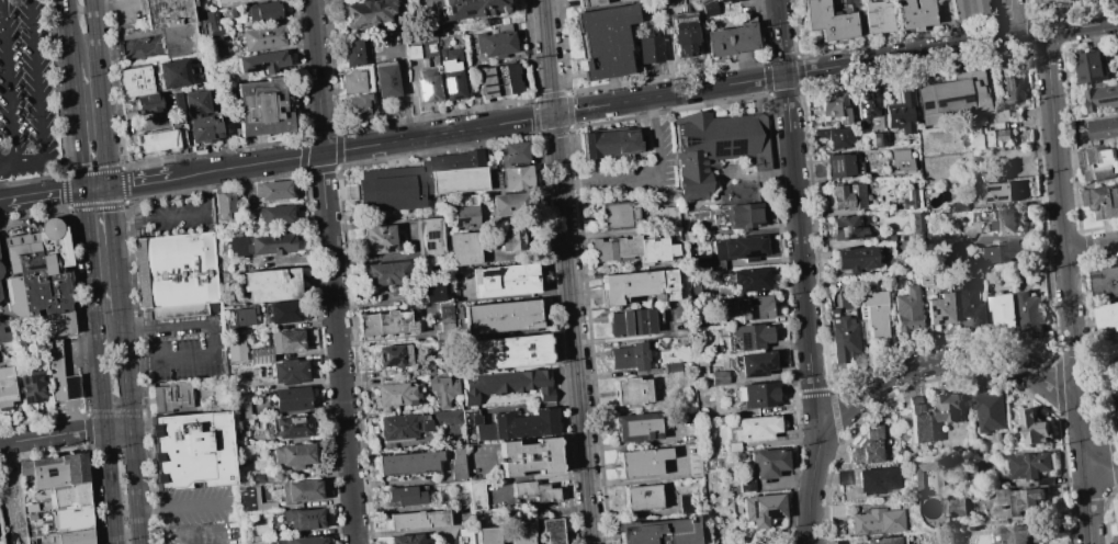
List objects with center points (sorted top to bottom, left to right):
building: (617, 0)
building: (719, 0)
building: (729, 1)
building: (1043, 1)
building: (234, 2)
building: (588, 3)
building: (850, 3)
building: (468, 8)
building: (965, 8)
building: (708, 9)
rooftop solar panel: (448, 10)
rooftop solar panel: (465, 11)
building: (168, 12)
building: (364, 12)
building: (234, 13)
building: (267, 13)
building: (914, 13)
building: (877, 16)
road: (1012, 19)
building: (827, 21)
building: (213, 24)
road: (1082, 25)
road: (69, 31)
road: (1029, 33)
building: (682, 35)
road: (781, 37)
building: (266, 38)
building: (183, 39)
building: (605, 39)
building: (730, 39)
building: (490, 43)
building: (648, 49)
building: (410, 52)
building: (351, 53)
building: (266, 63)
building: (1088, 66)
building: (450, 72)
building: (178, 73)
rooftop solar panel: (484, 75)
building: (385, 79)
building: (139, 80)
building: (498, 80)
road: (10, 82)
building: (350, 82)
rooftop solar panel: (1005, 82)
rooftop solar panel: (486, 83)
building: (426, 86)
building: (1008, 86)
rooftop solar panel: (424, 88)
parking lot: (24, 90)
rooftop solar panel: (487, 91)
road: (99, 93)
building: (1102, 97)
rooftop solar panel: (951, 98)
building: (952, 98)
road: (37, 99)
rooftop solar panel: (1109, 99)
building: (153, 103)
building: (866, 103)
rooftop solar panel: (871, 103)
rooftop solar panel: (925, 103)
building: (355, 105)
building: (834, 106)
building: (264, 107)
road: (590, 107)
building: (901, 109)
rooftop solar panel: (859, 112)
rooftop solar panel: (869, 112)
traffic signals: (553, 114)
building: (1002, 115)
building: (159, 116)
building: (202, 120)
road: (78, 126)
building: (1103, 127)
building: (834, 136)
building: (987, 136)
rooftop solar panel: (884, 137)
building: (161, 139)
building: (878, 139)
rooftop solar panel: (876, 140)
rooftop solar panel: (737, 146)
building: (714, 147)
rooftop solar panel: (716, 148)
building: (515, 151)
building: (617, 157)
building: (902, 160)
building: (856, 163)
building: (1099, 163)
building: (839, 165)
rooftop solar panel: (834, 166)
building: (517, 178)
building: (419, 181)
road: (137, 182)
traffic signals: (108, 186)
road: (95, 188)
traffic signals: (84, 190)
building: (274, 190)
building: (995, 192)
road: (46, 195)
building: (847, 195)
rooftop solar panel: (1117, 195)
building: (911, 200)
building: (1103, 201)
road: (4, 202)
building: (225, 204)
building: (510, 206)
building: (959, 207)
building: (280, 214)
building: (618, 214)
parking lot: (171, 215)
road: (177, 215)
building: (465, 216)
building: (743, 216)
building: (669, 217)
road: (1061, 218)
building: (693, 219)
building: (916, 222)
building: (1005, 222)
building: (847, 228)
rooftop solar panel: (843, 230)
rooftop solar panel: (430, 235)
rooftop solar panel: (863, 235)
road: (1024, 236)
building: (428, 237)
building: (884, 237)
building: (507, 238)
rooftop solar panel: (848, 238)
building: (381, 239)
building: (269, 242)
building: (76, 246)
rooftop solar panel: (428, 246)
road: (1091, 247)
building: (739, 248)
rooftop solar panel: (387, 249)
building: (464, 249)
building: (631, 249)
road: (113, 250)
rooftop solar panel: (749, 250)
building: (1000, 251)
rooftop solar panel: (750, 254)
road: (800, 257)
building: (855, 258)
building: (0, 271)
road: (566, 271)
building: (38, 272)
building: (176, 272)
road: (329, 272)
building: (385, 274)
building: (987, 275)
building: (505, 280)
building: (749, 280)
building: (924, 280)
building: (890, 282)
building: (1106, 282)
building: (274, 284)
building: (636, 286)
building: (430, 292)
building: (0, 298)
building: (969, 299)
building: (753, 307)
building: (906, 309)
building: (938, 309)
building: (1004, 309)
building: (286, 313)
building: (874, 313)
building: (1029, 313)
building: (1108, 314)
building: (247, 316)
building: (500, 317)
building: (445, 319)
building: (630, 322)
building: (61, 324)
building: (385, 325)
building: (5, 331)
building: (752, 336)
building: (843, 337)
road: (213, 338)
building: (291, 342)
parking lot: (183, 349)
building: (1113, 349)
building: (240, 350)
road: (75, 352)
building: (510, 353)
building: (266, 355)
building: (393, 355)
building: (630, 356)
road: (941, 360)
building: (756, 364)
road: (100, 366)
rooftop solar panel: (765, 366)
building: (55, 370)
building: (425, 370)
building: (293, 372)
rooftop solar panel: (753, 373)
building: (719, 377)
building: (507, 386)
road: (74, 387)
building: (7, 388)
building: (32, 388)
building: (71, 388)
building: (443, 390)
building: (631, 393)
building: (396, 395)
building: (760, 396)
building: (176, 397)
building: (1115, 397)
building: (293, 399)
building: (949, 407)
building: (240, 409)
building: (990, 411)
road: (76, 416)
building: (1116, 419)
building: (919, 421)
building: (517, 426)
building: (295, 427)
building: (404, 427)
building: (639, 427)
building: (757, 428)
building: (1036, 428)
road: (117, 429)
road: (128, 430)
road: (1081, 432)
road: (53, 435)
building: (867, 447)
building: (195, 452)
building: (298, 455)
building: (530, 457)
road: (1100, 460)
building: (642, 462)
building: (409, 464)
building: (458, 464)
building: (769, 464)
building: (1028, 464)
building: (55, 471)
road: (534, 477)
building: (262, 479)
building: (876, 479)
building: (916, 480)
building: (746, 484)
road: (810, 490)
building: (305, 491)
building: (533, 491)
building: (475, 495)
building: (405, 496)
building: (68, 497)
building: (642, 498)
building: (255, 500)
road: (1086, 500)
building: (1017, 501)
building: (1117, 503)
road: (183, 505)
parking lot: (199, 506)
building: (958, 507)
building: (763, 510)
building: (30, 515)
building: (308, 519)
building: (68, 520)
building: (419, 520)
building: (876, 521)
building: (552, 531)
road: (404, 532)
building: (658, 532)
parking lot: (204, 533)
building: (520, 533)
building: (1017, 534)
building: (486, 536)
building: (63, 537)
building: (408, 540)
building: (881, 540)
building: (310, 541)
building: (280, 542)
road: (213, 543)
building: (1116, 543)

